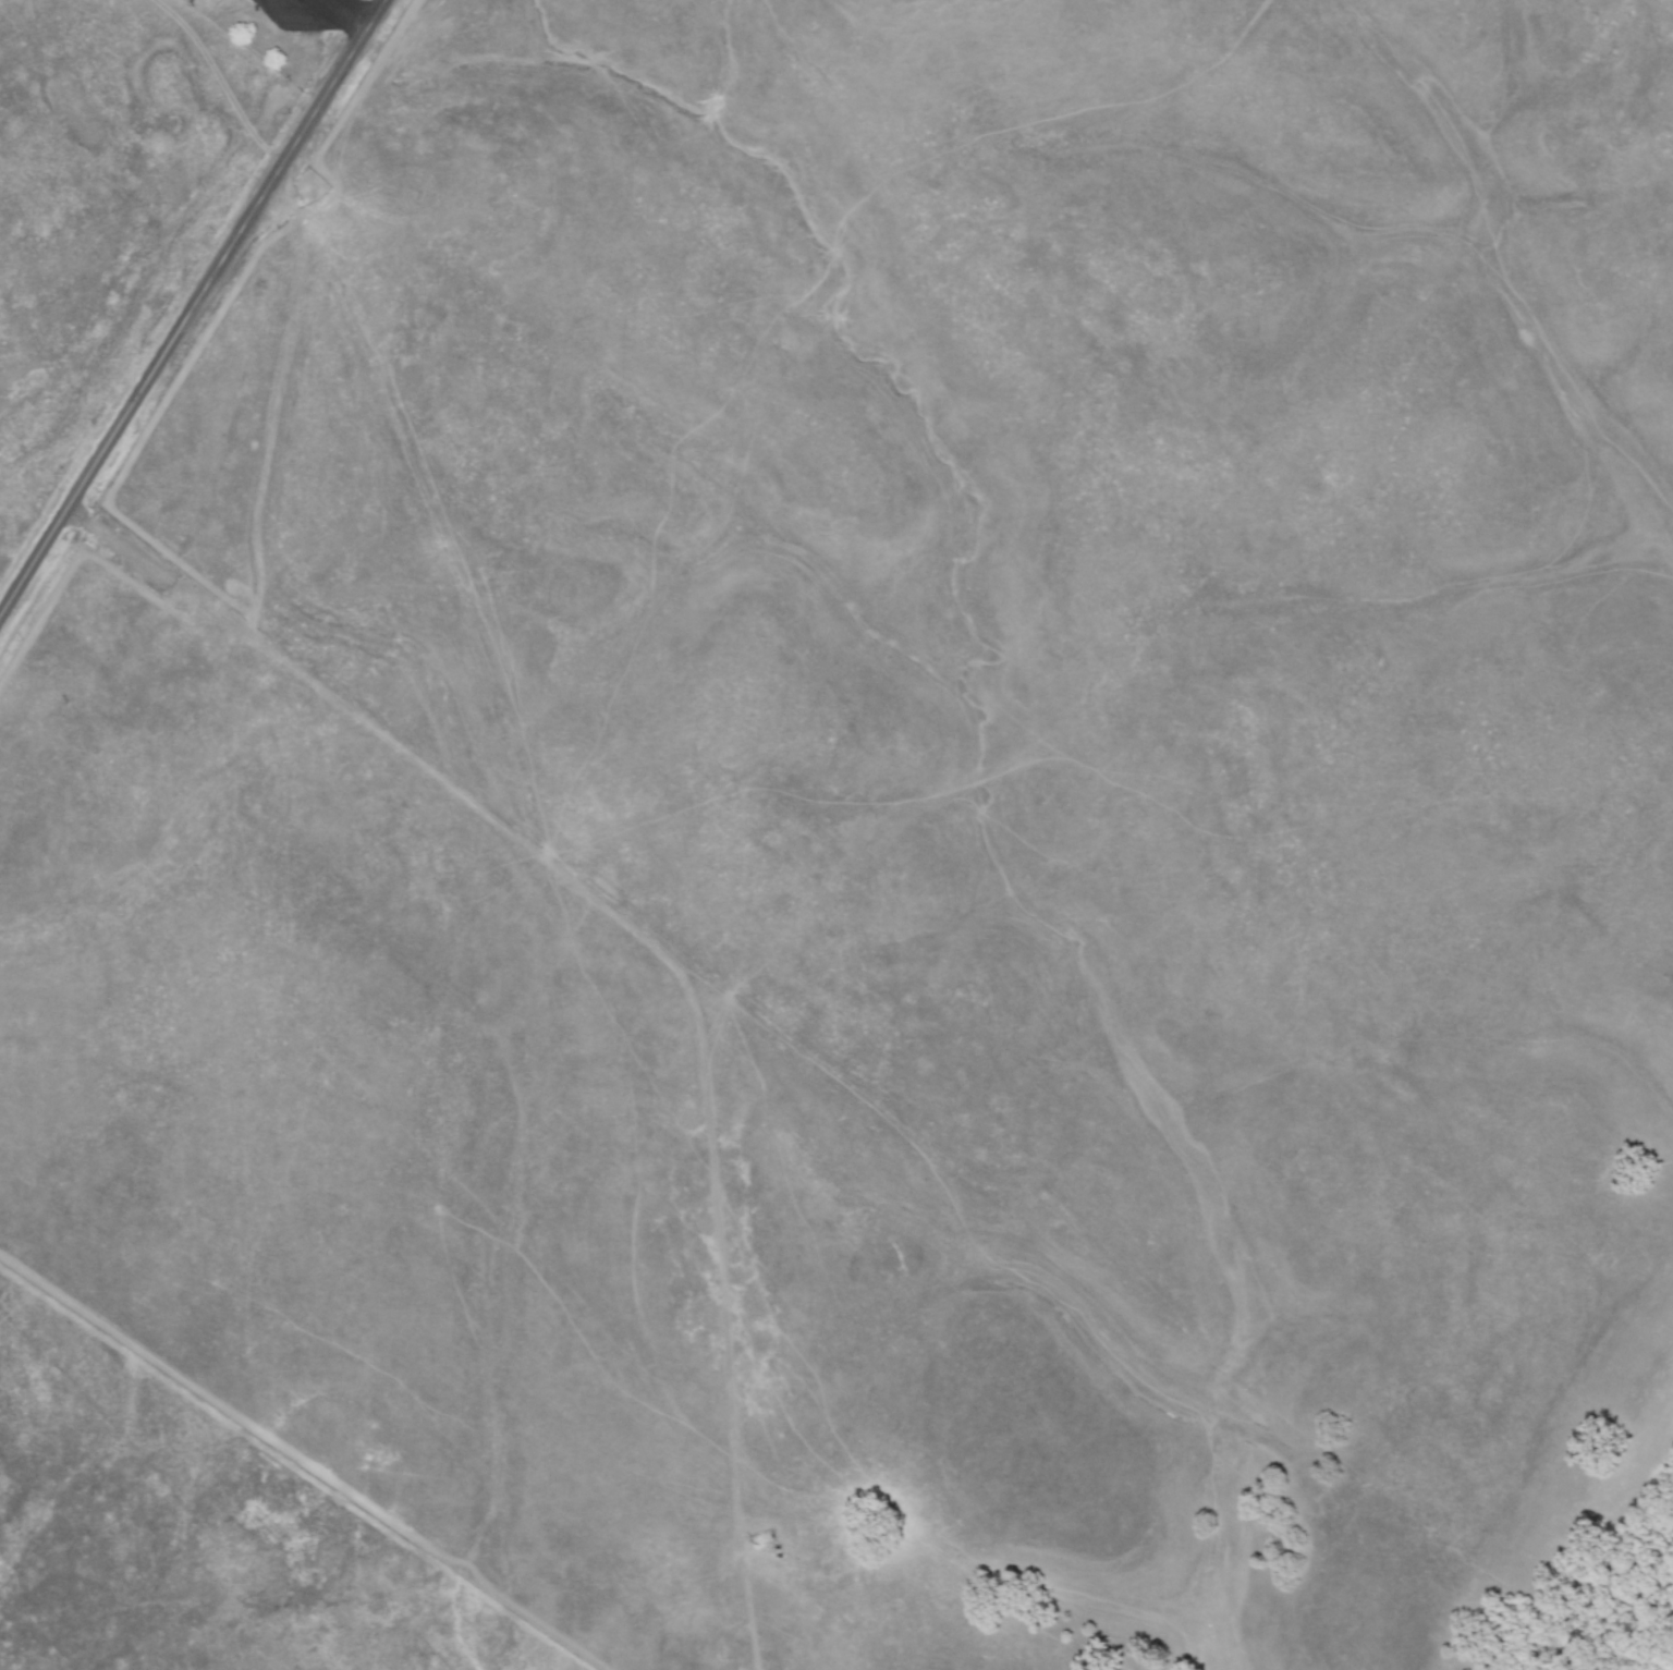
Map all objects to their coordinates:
road: (351, 12)
road: (192, 308)

